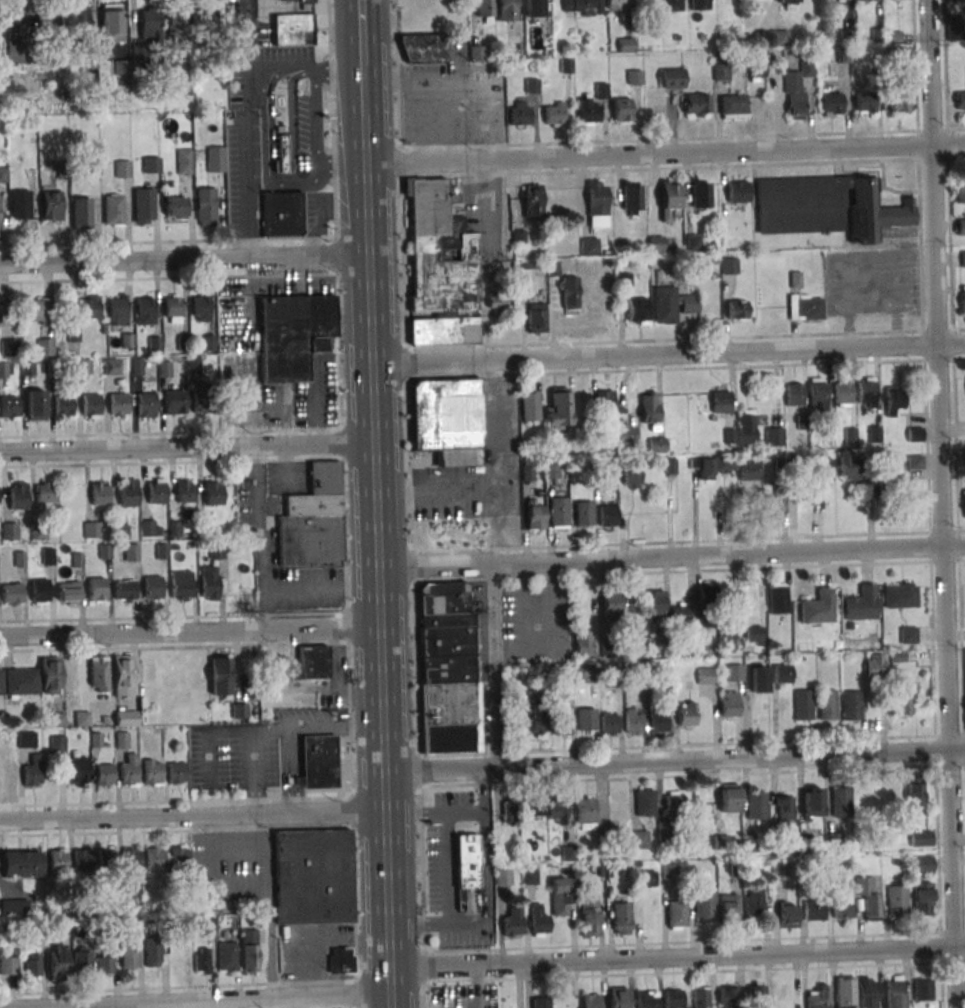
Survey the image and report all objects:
building: (296, 0)
power substation: (301, 0)
building: (838, 0)
building: (865, 0)
building: (614, 5)
building: (671, 5)
building: (699, 5)
building: (787, 5)
building: (581, 7)
building: (533, 8)
building: (483, 10)
building: (506, 10)
building: (79, 17)
building: (49, 20)
building: (150, 21)
building: (112, 23)
building: (204, 23)
building: (175, 26)
building: (295, 29)
road: (361, 35)
building: (779, 38)
building: (625, 44)
building: (423, 48)
building: (138, 50)
building: (18, 51)
building: (477, 53)
road: (291, 67)
building: (756, 68)
building: (89, 71)
road: (338, 71)
building: (720, 71)
building: (671, 78)
road: (423, 84)
building: (532, 85)
building: (795, 90)
building: (960, 99)
building: (898, 101)
building: (863, 102)
building: (694, 104)
building: (831, 104)
building: (732, 105)
building: (620, 109)
building: (586, 111)
building: (520, 113)
building: (553, 113)
road: (290, 118)
road: (317, 119)
road: (270, 120)
road: (488, 122)
road: (454, 123)
road: (418, 124)
building: (282, 153)
road: (664, 153)
road: (264, 157)
building: (215, 158)
building: (184, 161)
road: (242, 162)
road: (363, 163)
building: (151, 164)
road: (341, 167)
building: (123, 169)
building: (3, 174)
building: (960, 189)
building: (737, 192)
building: (698, 193)
building: (631, 198)
building: (532, 201)
building: (669, 201)
building: (50, 203)
building: (596, 203)
building: (20, 204)
building: (143, 205)
building: (175, 205)
building: (206, 206)
building: (826, 206)
road: (316, 207)
building: (113, 209)
building: (81, 213)
building: (282, 213)
building: (961, 226)
building: (692, 241)
building: (655, 244)
building: (588, 246)
building: (439, 251)
building: (963, 258)
road: (184, 260)
building: (729, 265)
building: (568, 293)
building: (962, 299)
building: (496, 304)
building: (671, 304)
building: (89, 307)
building: (805, 307)
building: (200, 308)
building: (172, 309)
building: (737, 309)
building: (145, 310)
building: (36, 311)
building: (117, 311)
building: (637, 311)
building: (535, 317)
building: (444, 331)
building: (73, 333)
building: (293, 334)
building: (8, 347)
building: (45, 347)
road: (668, 354)
building: (83, 366)
building: (110, 366)
building: (26, 367)
building: (2, 369)
building: (866, 391)
building: (842, 393)
building: (794, 394)
building: (818, 394)
building: (893, 399)
building: (174, 400)
building: (604, 401)
building: (203, 402)
building: (720, 402)
building: (35, 404)
building: (118, 404)
building: (62, 405)
building: (89, 405)
building: (145, 405)
building: (8, 406)
building: (528, 406)
building: (557, 408)
building: (650, 409)
building: (447, 420)
building: (774, 433)
building: (914, 434)
building: (625, 435)
building: (659, 445)
road: (186, 446)
building: (963, 453)
building: (915, 462)
building: (715, 466)
building: (893, 467)
building: (848, 469)
building: (551, 471)
building: (747, 471)
building: (823, 471)
building: (630, 477)
building: (156, 491)
building: (183, 491)
building: (45, 492)
building: (127, 492)
building: (99, 493)
building: (212, 493)
building: (17, 495)
building: (964, 503)
building: (775, 504)
road: (942, 504)
building: (559, 511)
building: (583, 513)
building: (608, 515)
building: (535, 516)
building: (313, 521)
building: (147, 527)
building: (91, 529)
building: (9, 531)
building: (120, 531)
road: (261, 536)
building: (104, 551)
building: (215, 551)
building: (131, 552)
road: (671, 556)
building: (211, 583)
building: (181, 585)
building: (152, 588)
building: (96, 589)
road: (321, 589)
building: (124, 590)
building: (39, 591)
building: (68, 592)
building: (11, 593)
building: (706, 594)
building: (899, 595)
building: (778, 597)
building: (860, 603)
building: (655, 604)
building: (610, 605)
building: (817, 606)
building: (680, 614)
road: (189, 630)
road: (378, 632)
building: (907, 634)
building: (753, 635)
building: (638, 637)
building: (726, 638)
building: (583, 644)
building: (606, 652)
building: (312, 661)
building: (874, 665)
road: (493, 666)
building: (451, 668)
building: (734, 672)
building: (782, 673)
building: (584, 674)
building: (98, 675)
building: (219, 675)
building: (704, 675)
building: (122, 676)
building: (758, 679)
building: (901, 701)
building: (729, 704)
building: (827, 704)
building: (803, 705)
building: (851, 705)
building: (515, 708)
building: (239, 710)
building: (686, 713)
building: (538, 716)
building: (125, 718)
building: (561, 718)
building: (585, 719)
building: (657, 720)
building: (633, 721)
building: (610, 723)
road: (333, 727)
road: (268, 729)
road: (207, 736)
building: (26, 739)
building: (4, 741)
building: (56, 744)
road: (673, 761)
building: (317, 762)
building: (128, 770)
building: (33, 771)
building: (78, 771)
road: (285, 771)
building: (152, 772)
building: (176, 772)
road: (254, 772)
building: (8, 775)
building: (104, 775)
building: (915, 793)
building: (729, 797)
building: (840, 801)
building: (645, 802)
building: (811, 802)
building: (673, 804)
building: (756, 804)
building: (783, 809)
road: (433, 810)
building: (515, 810)
building: (556, 812)
building: (585, 813)
road: (192, 815)
building: (665, 830)
building: (920, 838)
building: (640, 839)
building: (834, 839)
building: (750, 843)
building: (568, 853)
building: (179, 855)
building: (154, 858)
building: (58, 859)
building: (82, 859)
building: (106, 859)
building: (466, 860)
building: (131, 861)
building: (21, 862)
building: (922, 863)
road: (447, 867)
building: (668, 871)
building: (780, 872)
building: (530, 875)
building: (312, 876)
building: (503, 876)
building: (644, 879)
building: (126, 894)
road: (485, 894)
building: (559, 896)
building: (922, 898)
building: (869, 900)
building: (897, 900)
building: (754, 902)
building: (703, 905)
building: (13, 906)
road: (266, 907)
building: (728, 908)
building: (842, 910)
building: (813, 911)
building: (676, 914)
building: (787, 914)
building: (588, 918)
building: (621, 918)
building: (539, 921)
building: (512, 922)
road: (318, 939)
building: (249, 950)
building: (130, 951)
building: (152, 952)
building: (227, 955)
road: (677, 956)
building: (81, 959)
building: (201, 960)
building: (340, 960)
building: (57, 962)
building: (105, 963)
building: (33, 965)
building: (8, 966)
building: (922, 989)
building: (894, 991)
building: (845, 992)
building: (868, 992)
building: (728, 996)
building: (756, 996)
building: (617, 997)
building: (672, 997)
building: (701, 997)
building: (781, 997)
building: (818, 997)
building: (647, 999)
road: (224, 1001)
building: (540, 1001)
building: (590, 1001)
road: (305, 1003)
road: (236, 1004)

